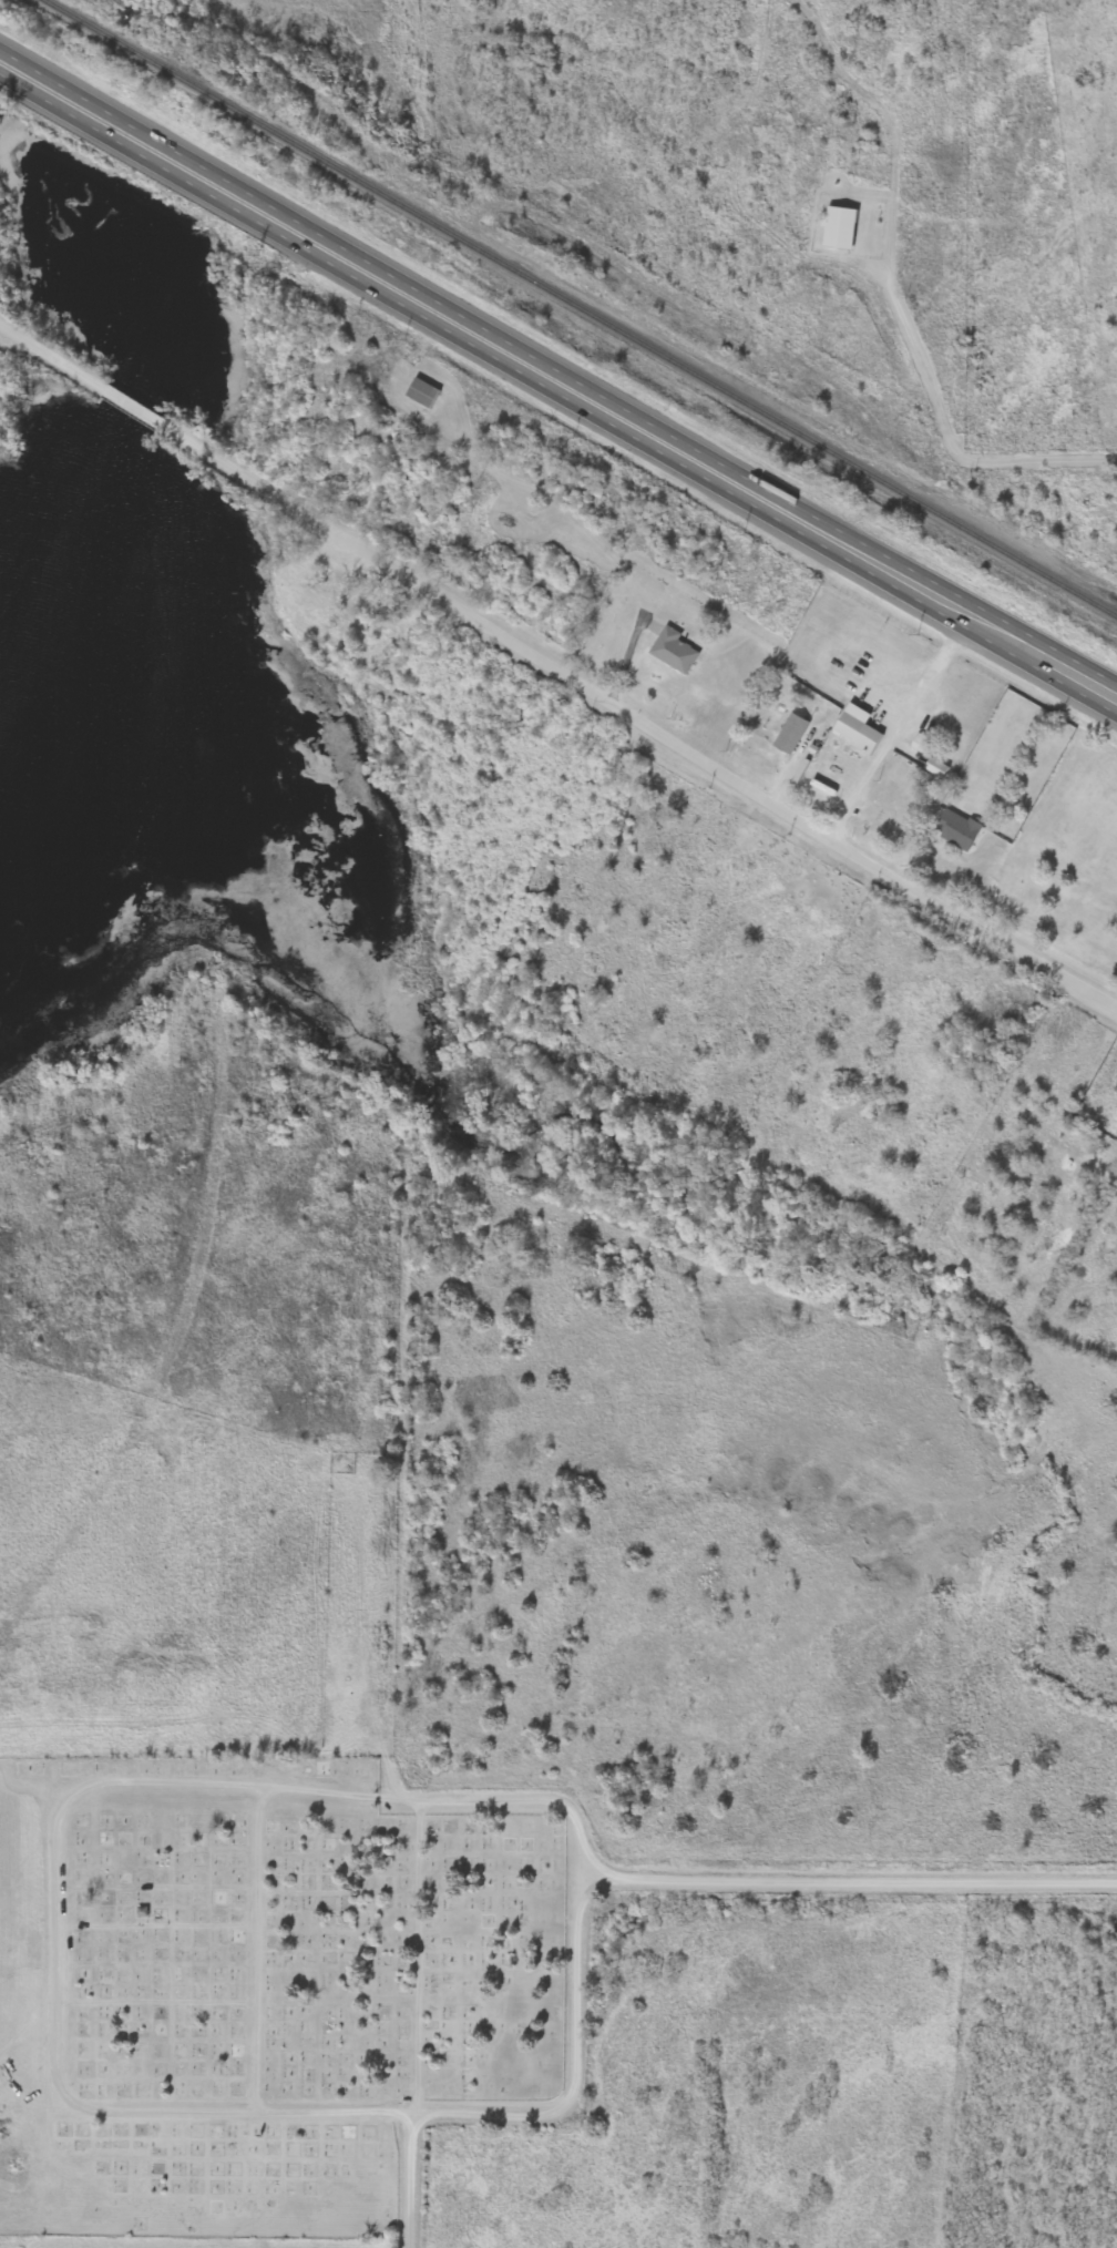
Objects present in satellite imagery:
building: (837, 228)
railway: (581, 308)
road: (484, 340)
building: (419, 391)
road: (944, 426)
road: (277, 495)
building: (672, 650)
road: (1043, 658)
building: (847, 726)
building: (788, 733)
building: (882, 815)
building: (954, 829)
road: (831, 842)
road: (398, 1473)
road: (851, 1879)
road: (255, 1950)
road: (410, 1956)
park: (280, 1982)
road: (228, 2111)
road: (414, 2179)

